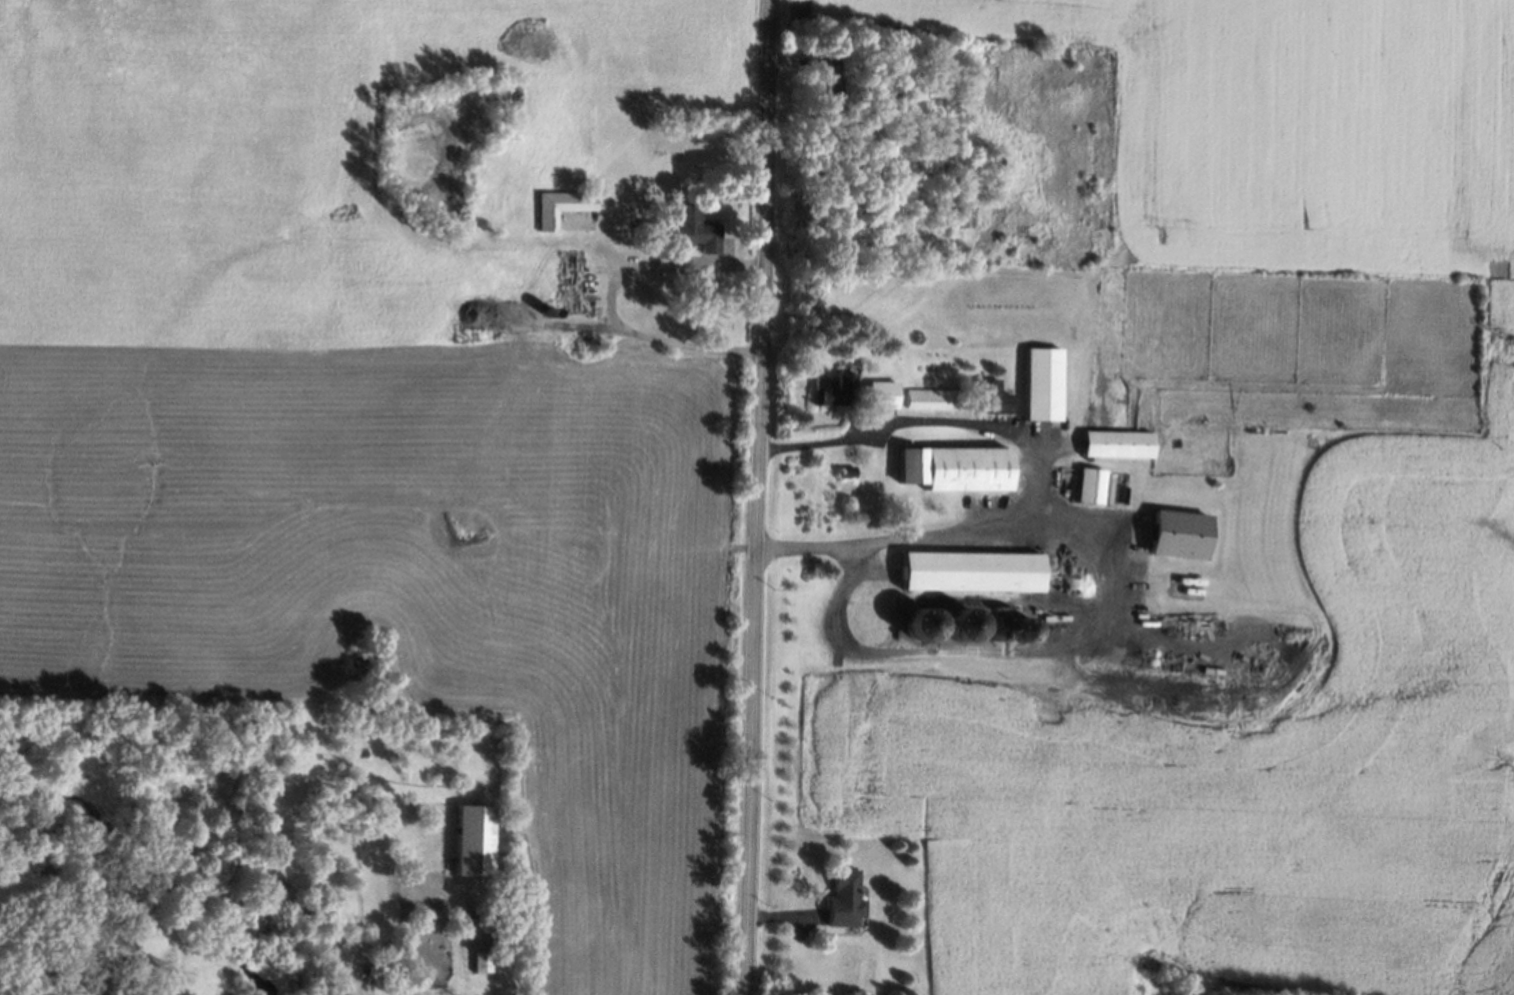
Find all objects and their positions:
building: (833, 76)
building: (563, 207)
building: (698, 230)
road: (616, 254)
road: (609, 298)
building: (1045, 384)
building: (835, 389)
building: (883, 393)
building: (993, 397)
building: (930, 398)
road: (876, 424)
building: (1121, 445)
building: (912, 465)
building: (848, 471)
building: (969, 471)
building: (1094, 487)
road: (760, 497)
road: (956, 533)
building: (1183, 535)
building: (974, 571)
building: (923, 624)
building: (964, 625)
building: (1024, 629)
power tower: (1513, 758)
building: (475, 839)
building: (845, 899)
building: (484, 917)
building: (483, 962)

